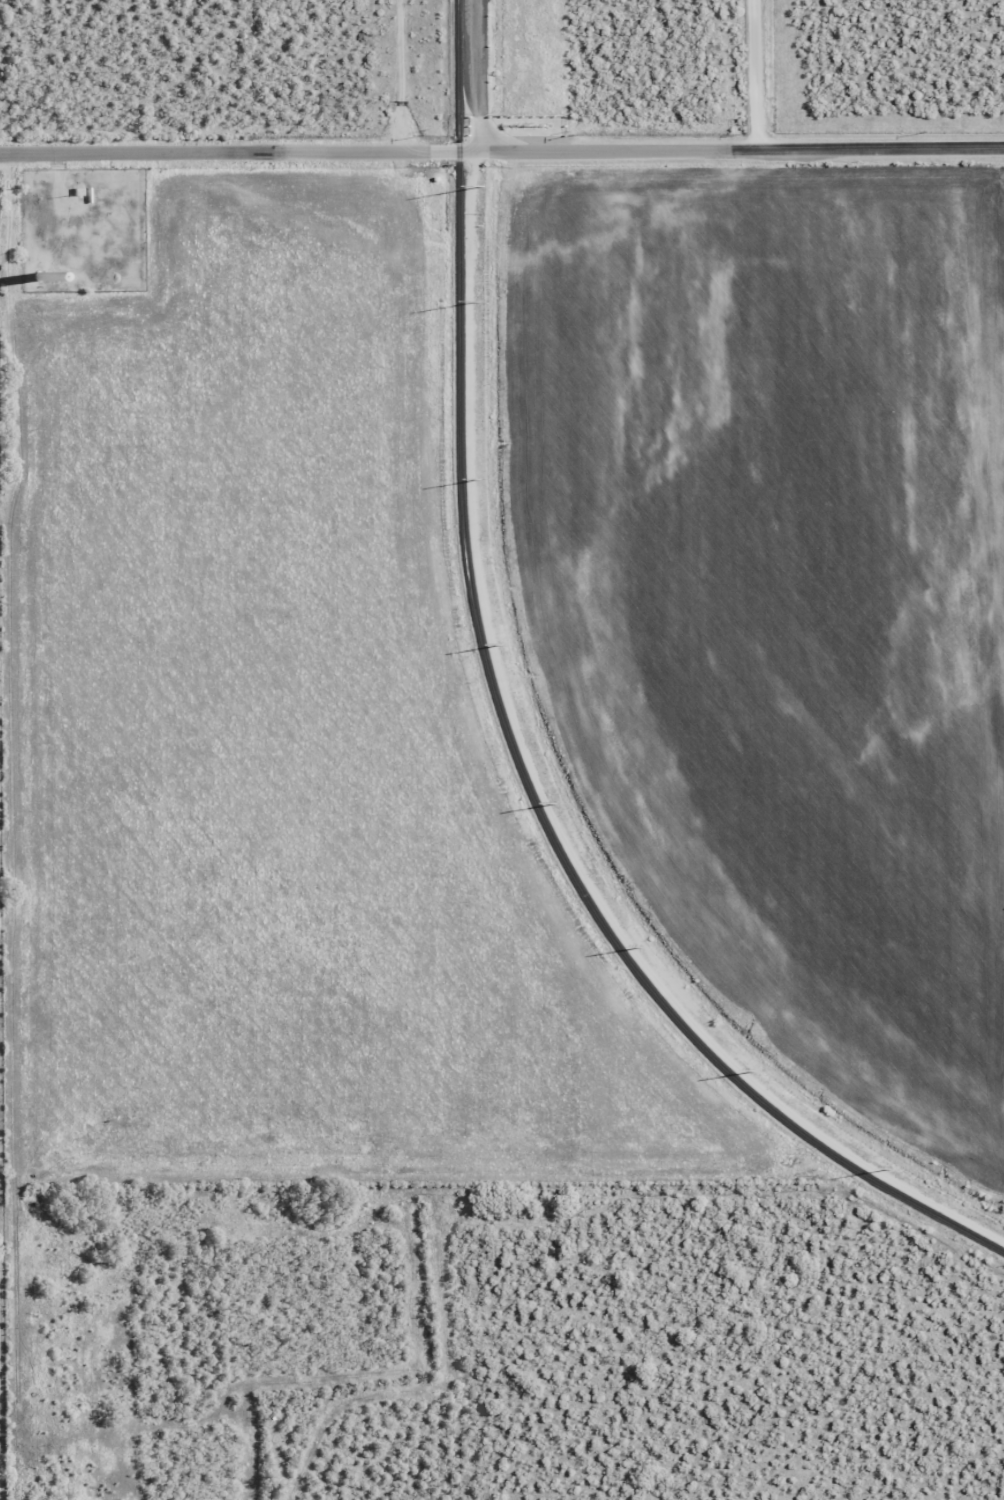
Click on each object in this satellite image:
road: (758, 73)
road: (787, 74)
road: (476, 75)
road: (911, 147)
road: (789, 148)
road: (380, 151)
power tower: (484, 185)
power tower: (480, 302)
power tower: (481, 479)
power tower: (503, 645)
railway: (510, 732)
power tower: (557, 803)
road: (17, 830)
power tower: (643, 948)
power tower: (756, 1072)
power tower: (891, 1169)

